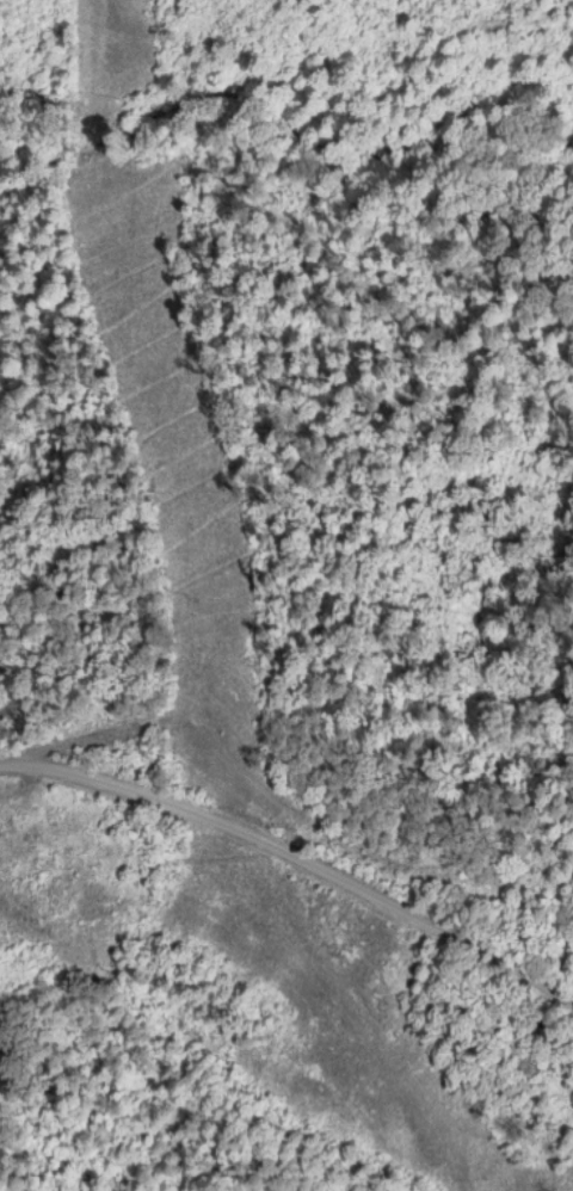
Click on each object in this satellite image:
road: (296, 856)

